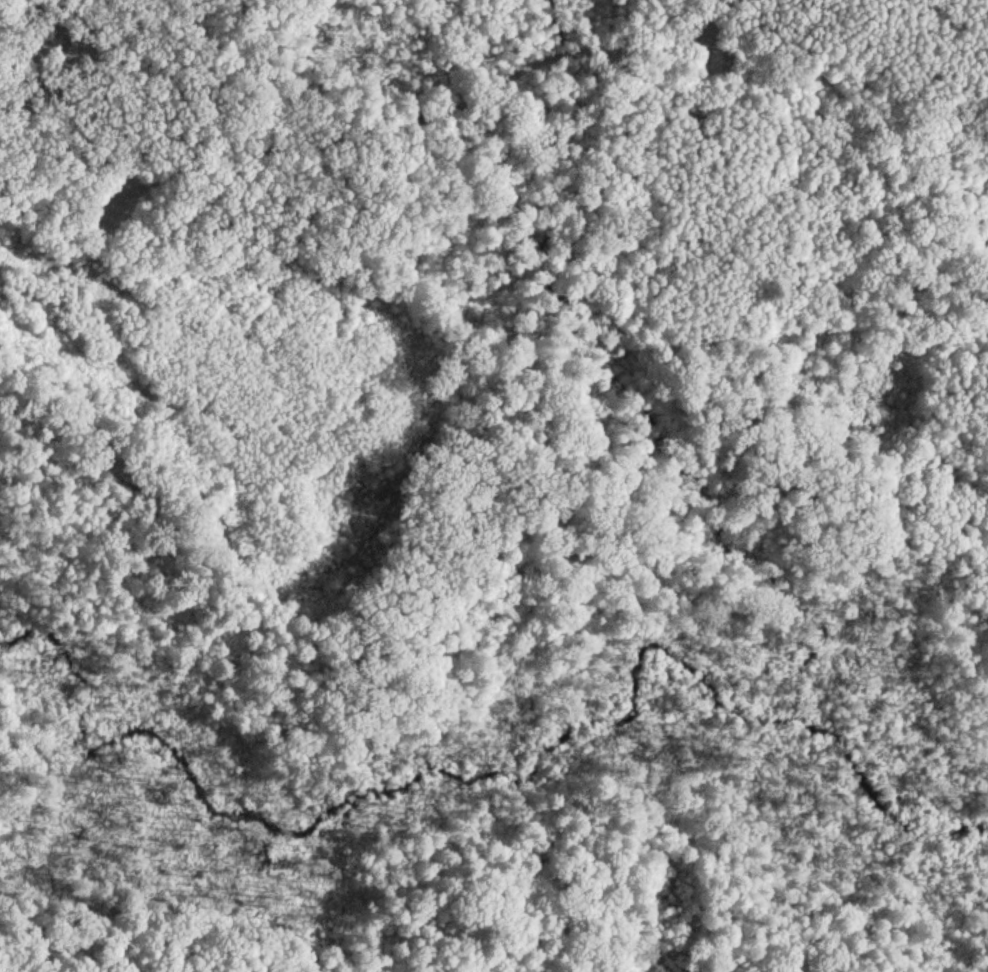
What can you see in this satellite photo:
road: (362, 128)

